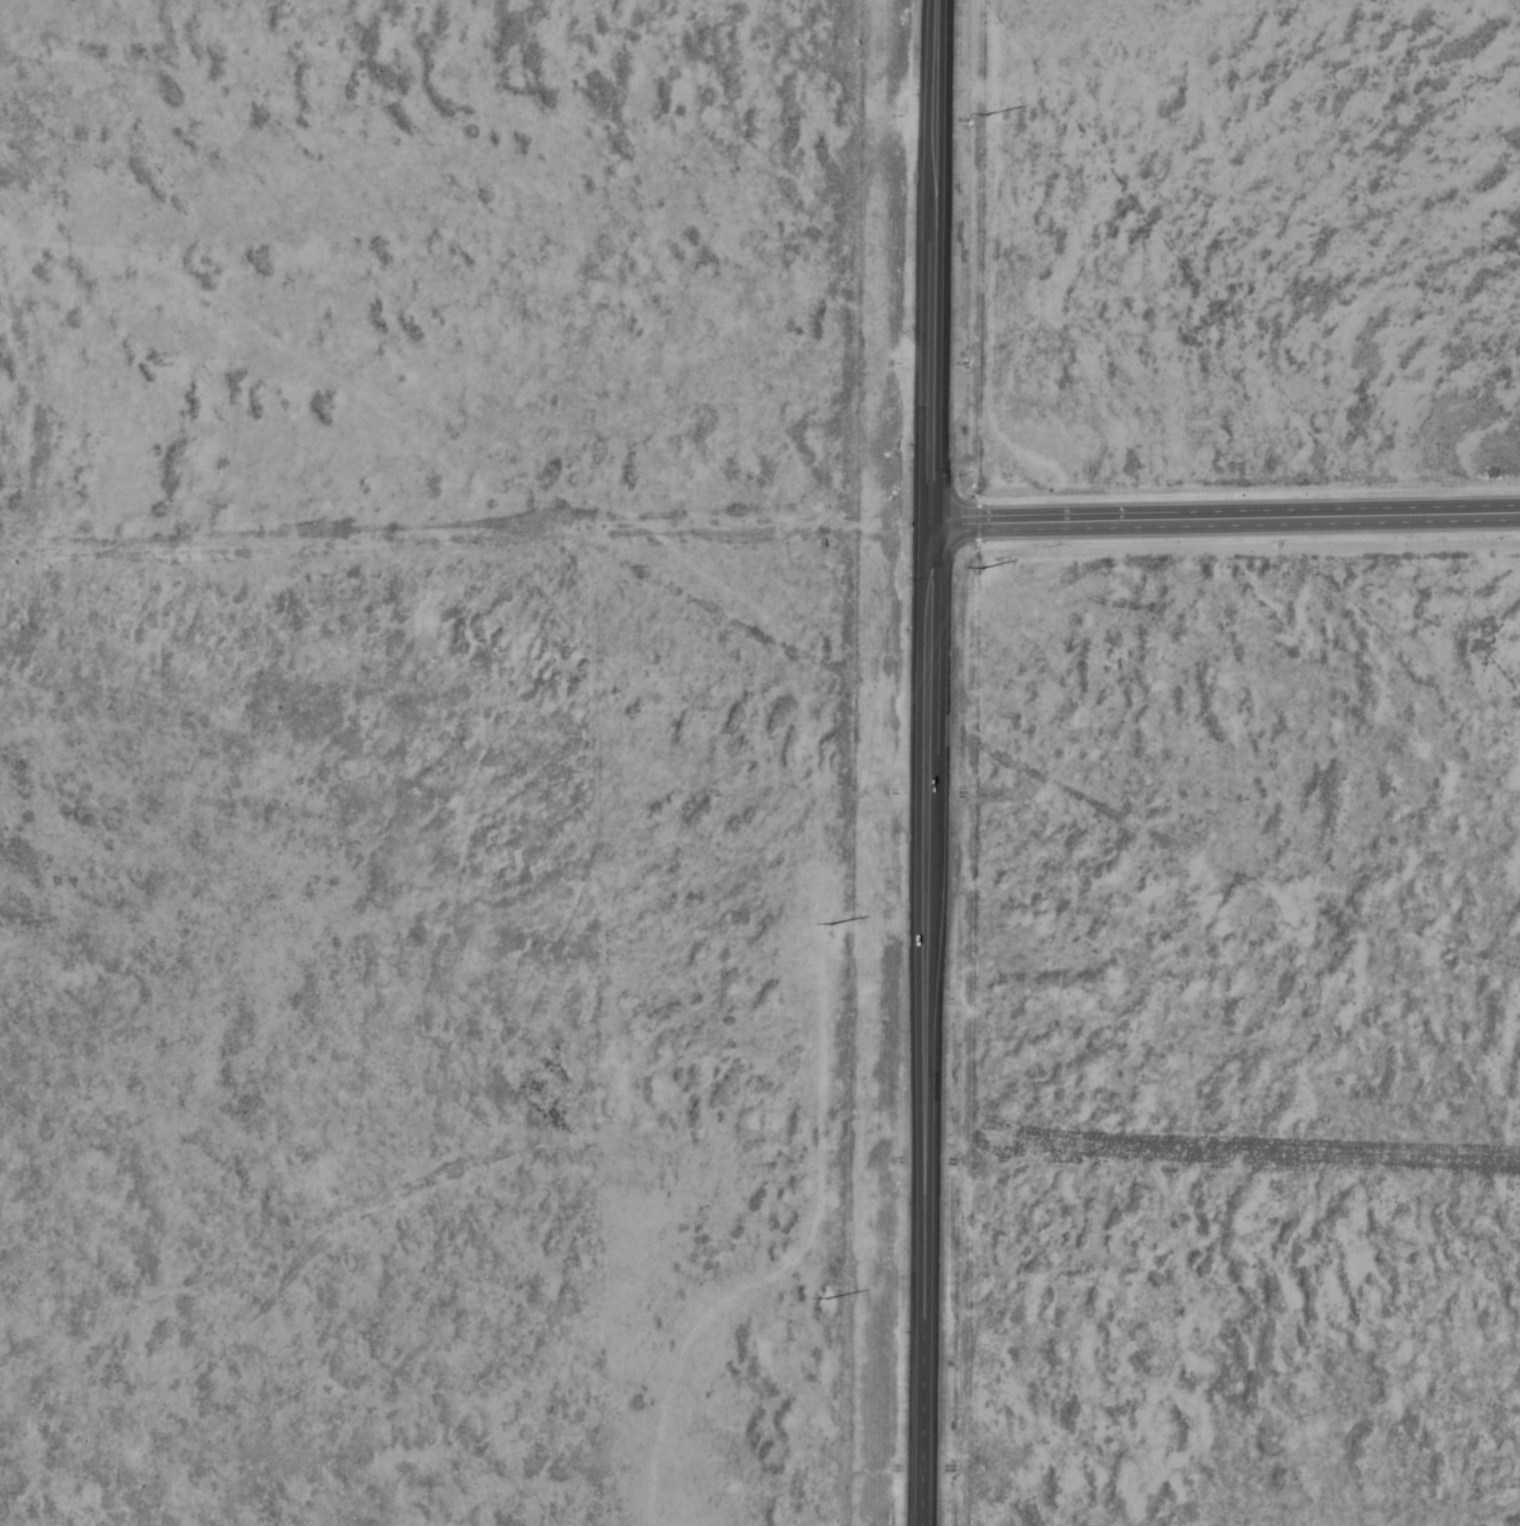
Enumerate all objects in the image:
road: (934, 260)
road: (40, 425)
road: (1225, 513)
road: (925, 1023)

